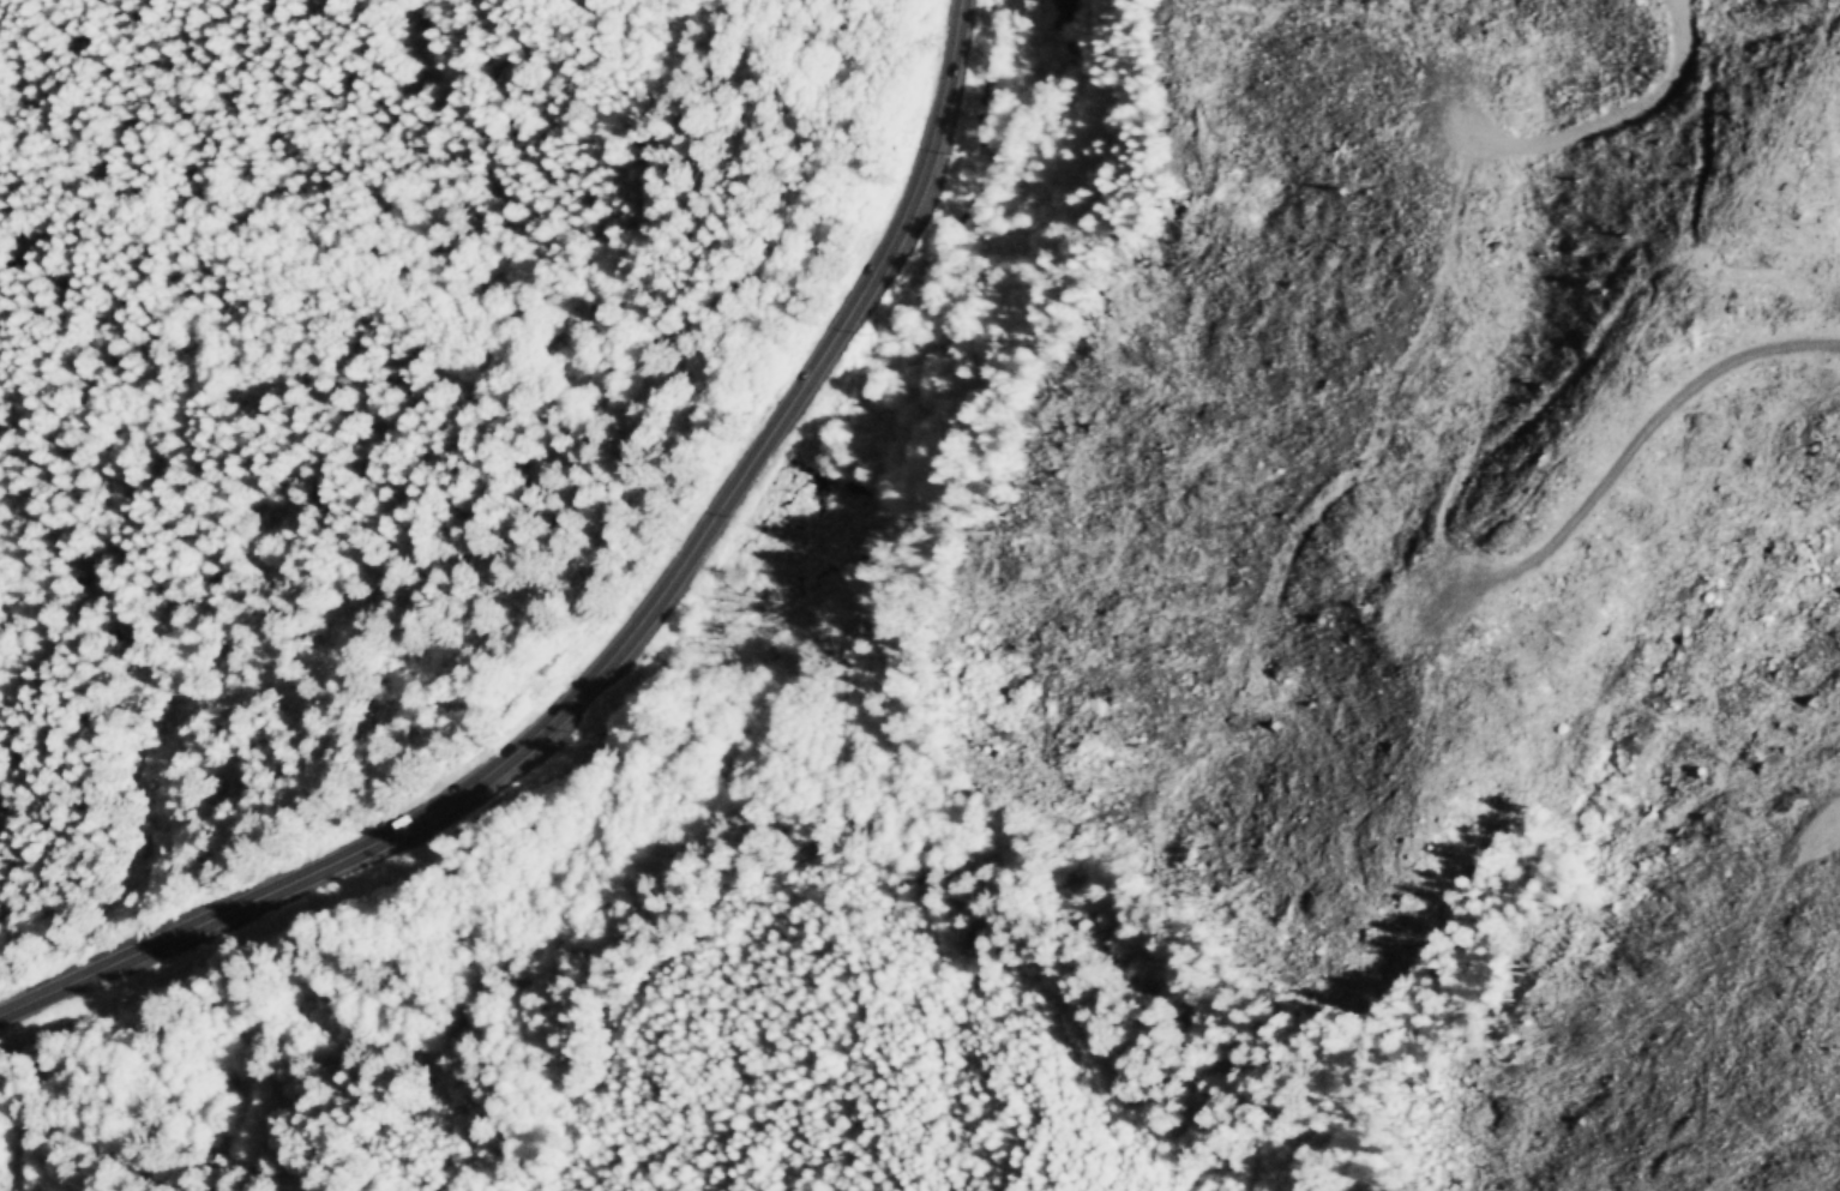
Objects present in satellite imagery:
road: (621, 640)

